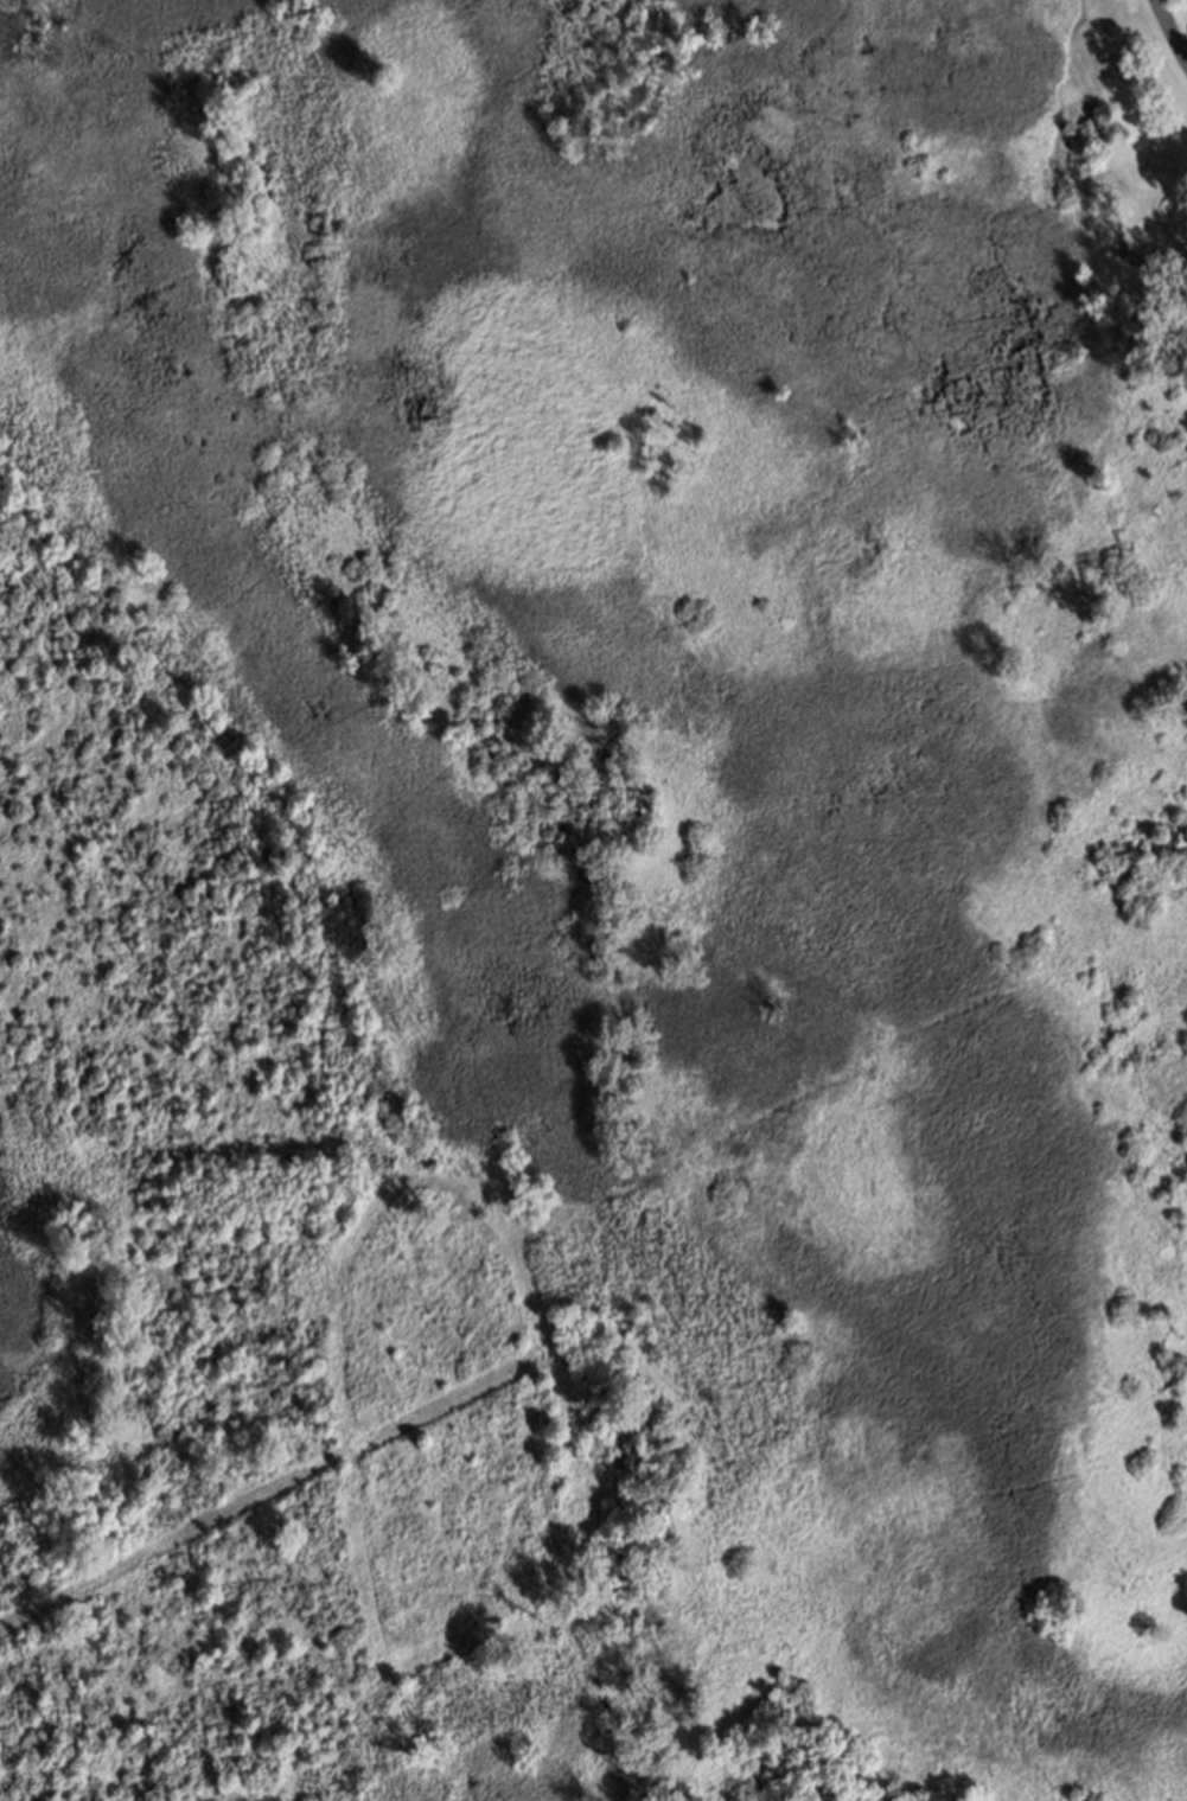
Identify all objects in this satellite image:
road: (1173, 30)

